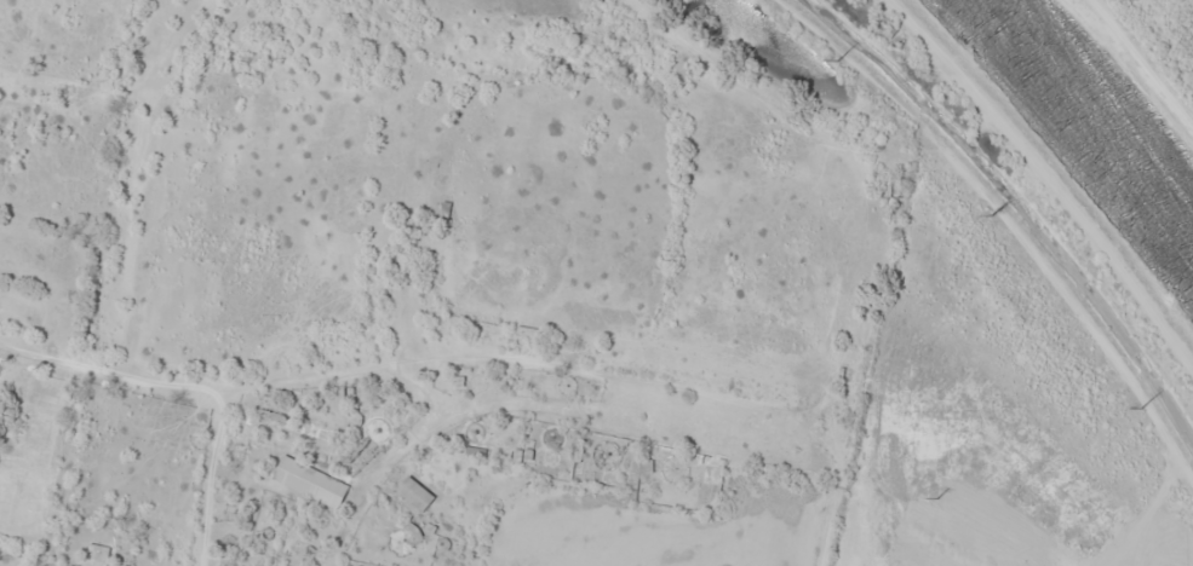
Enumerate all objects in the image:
power tower: (851, 64)
power tower: (1002, 208)
park: (420, 288)
power tower: (1151, 408)
power tower: (958, 492)

